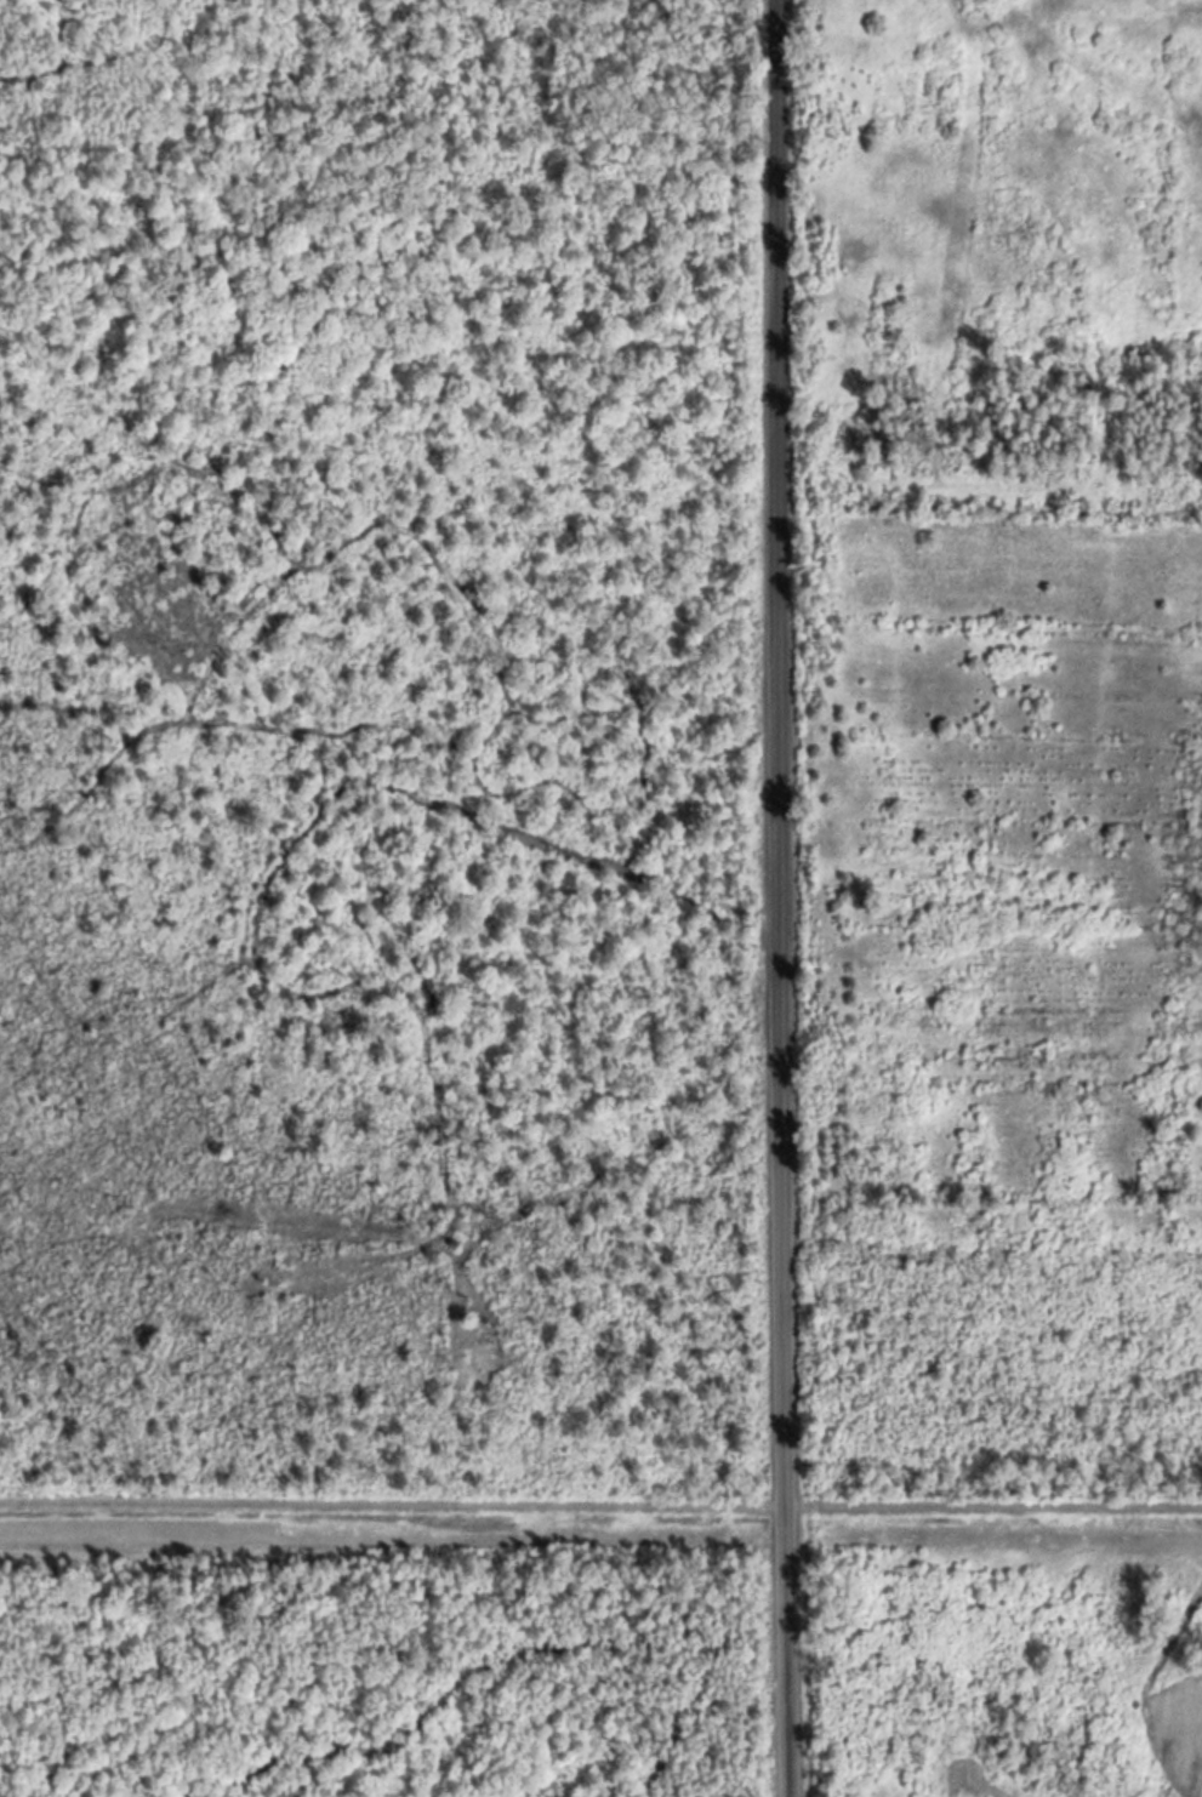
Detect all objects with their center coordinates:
road: (775, 898)

